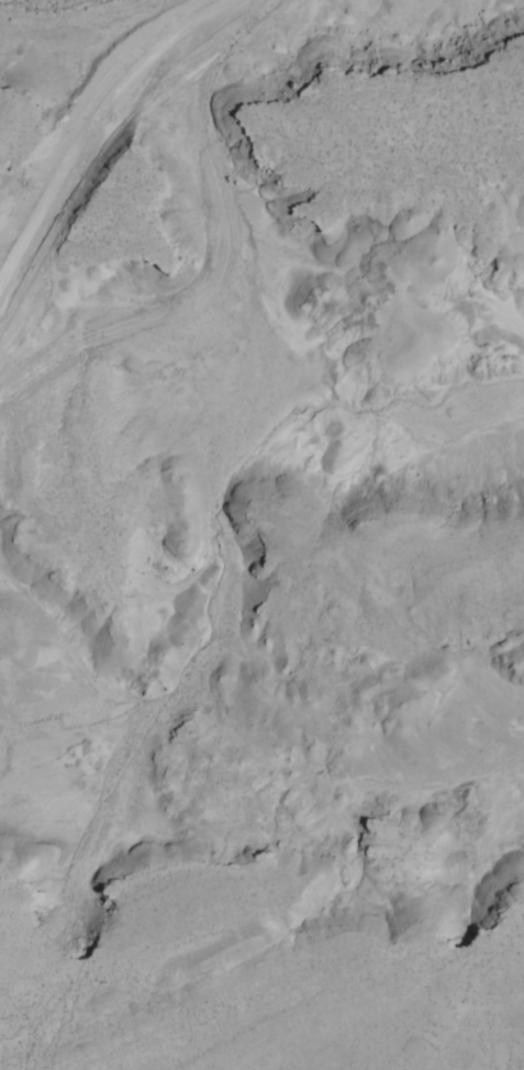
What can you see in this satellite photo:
road: (100, 125)

